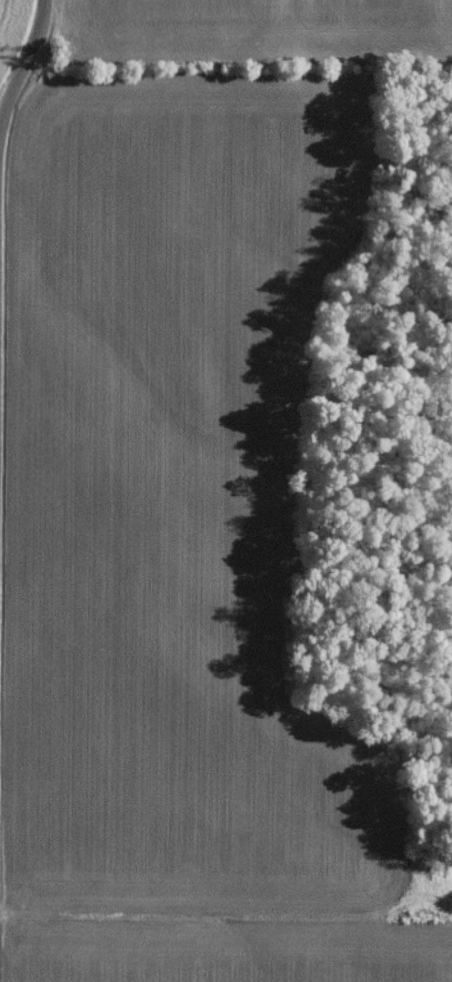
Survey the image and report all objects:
road: (14, 91)

